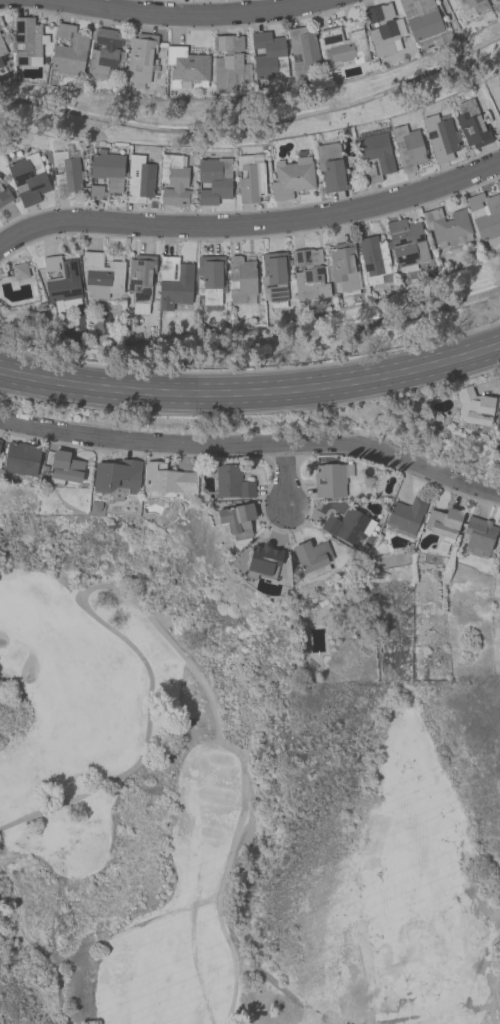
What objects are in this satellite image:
building: (497, 1)
building: (467, 7)
road: (196, 18)
building: (421, 18)
building: (382, 28)
building: (28, 41)
building: (343, 46)
building: (2, 48)
building: (302, 48)
building: (69, 49)
building: (103, 52)
building: (269, 55)
building: (141, 58)
building: (1, 62)
building: (229, 63)
building: (186, 66)
building: (498, 82)
building: (499, 98)
building: (471, 124)
building: (440, 136)
building: (408, 147)
building: (374, 155)
building: (330, 166)
building: (65, 174)
building: (106, 174)
building: (250, 177)
building: (291, 177)
building: (28, 178)
building: (139, 179)
building: (172, 179)
building: (214, 179)
building: (499, 181)
building: (499, 185)
building: (4, 194)
building: (486, 215)
building: (447, 225)
road: (251, 227)
building: (406, 243)
building: (374, 259)
building: (344, 266)
building: (20, 270)
building: (101, 274)
building: (308, 274)
building: (241, 277)
building: (274, 277)
building: (210, 278)
building: (140, 280)
building: (61, 282)
building: (174, 284)
road: (252, 392)
building: (474, 406)
building: (498, 427)
building: (0, 441)
road: (253, 442)
building: (21, 458)
building: (64, 467)
road: (282, 473)
building: (116, 476)
building: (331, 478)
building: (166, 480)
building: (232, 482)
building: (405, 514)
building: (236, 519)
building: (443, 523)
building: (348, 525)
building: (478, 534)
building: (311, 556)
building: (432, 559)
building: (263, 560)
road: (153, 622)
park: (223, 832)

